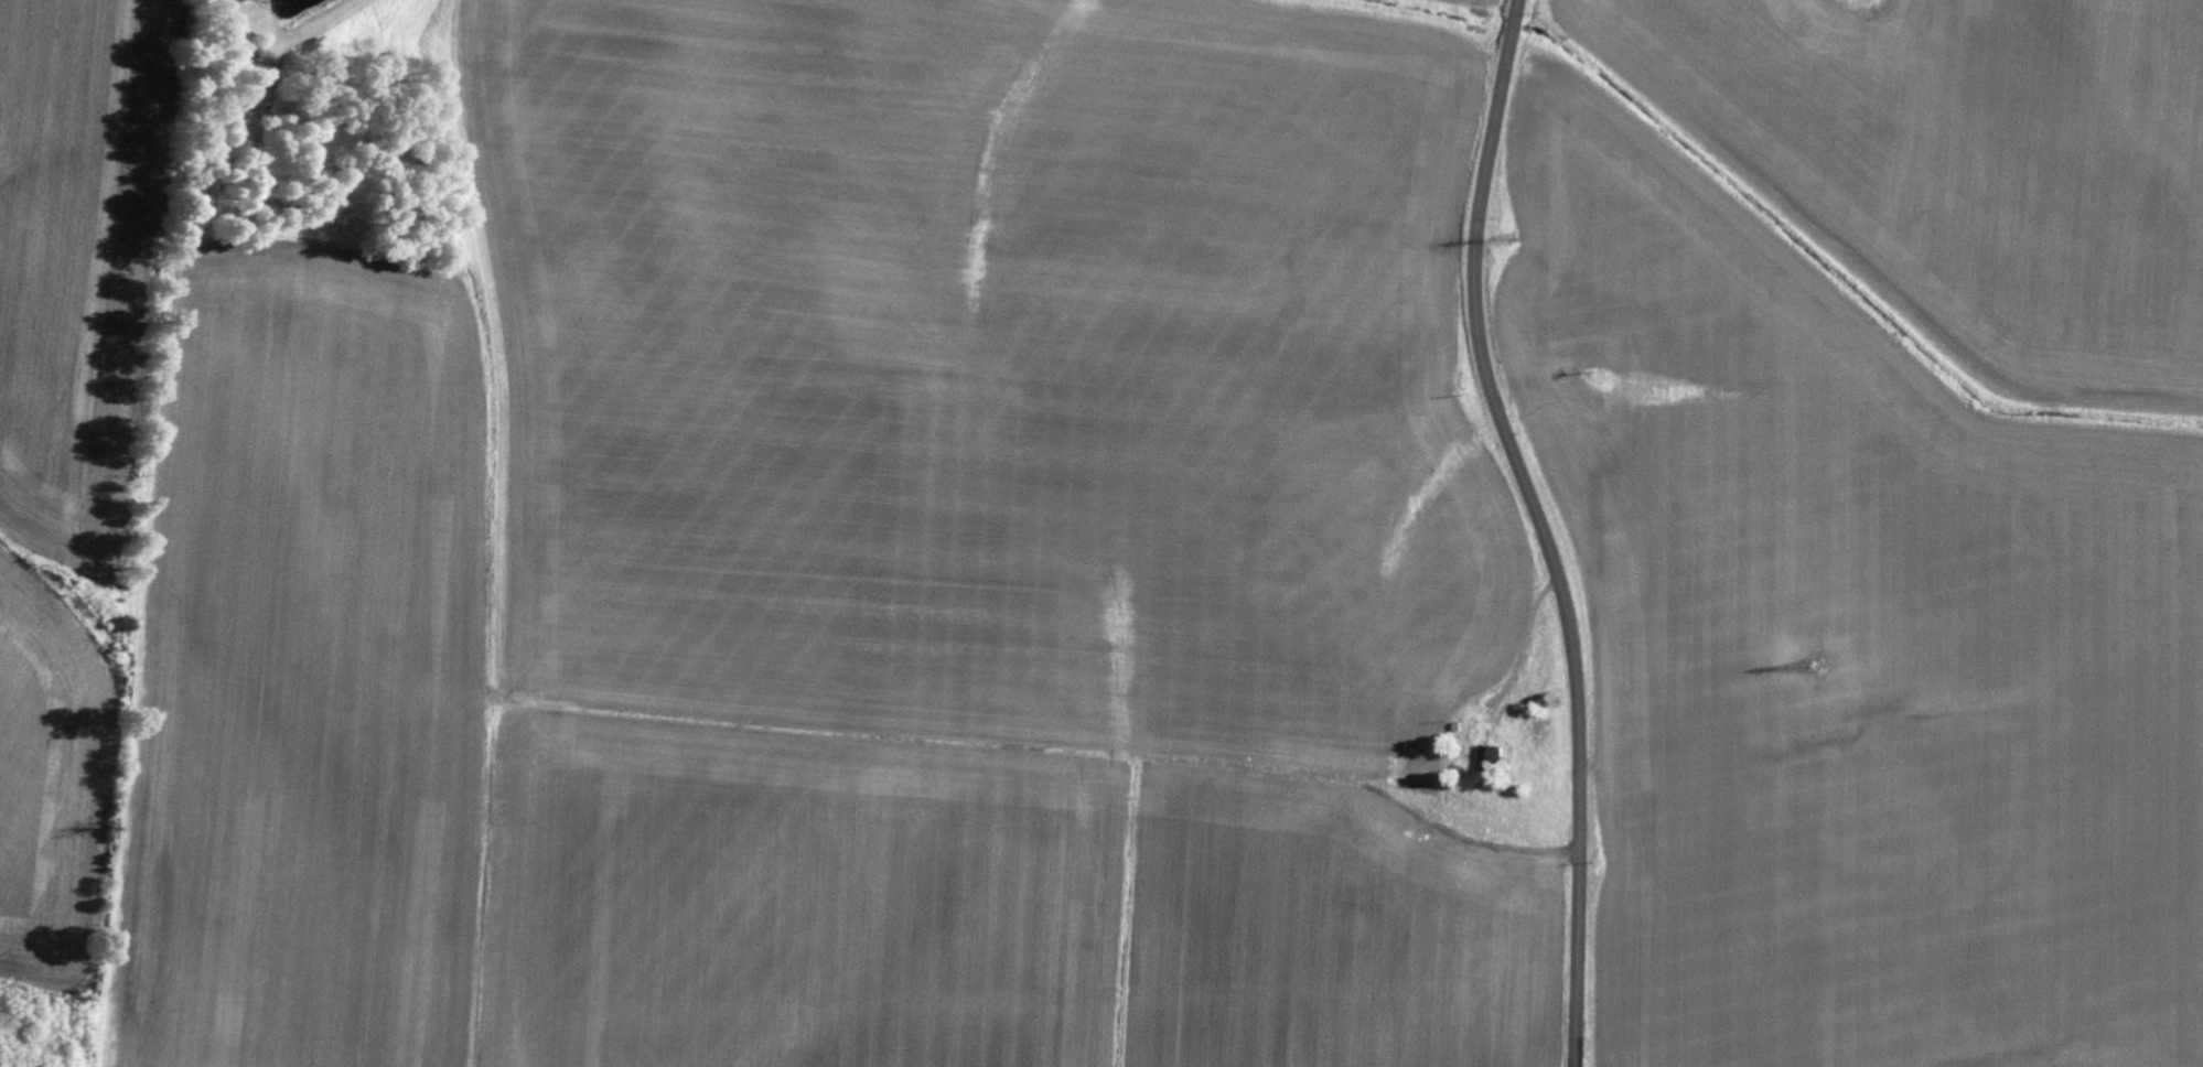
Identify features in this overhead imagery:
road: (1544, 528)
building: (1496, 758)

